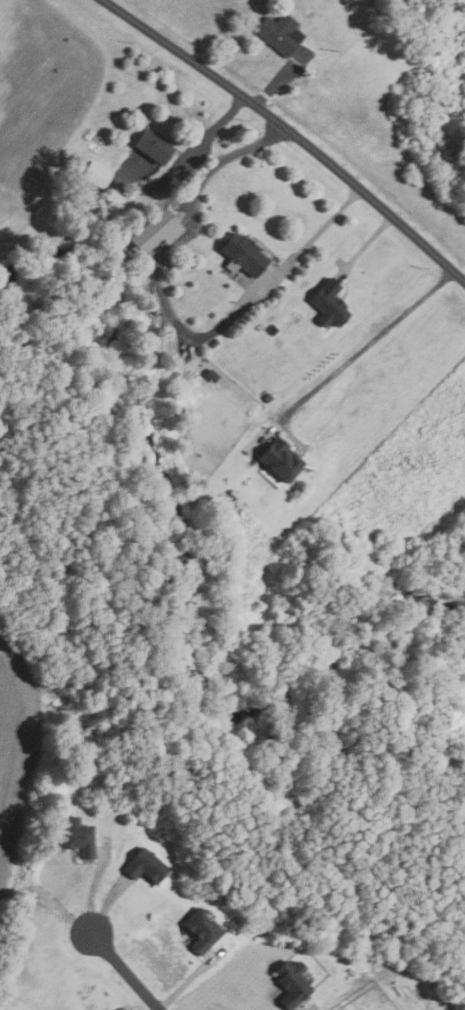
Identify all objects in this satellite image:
building: (277, 33)
road: (279, 79)
road: (289, 133)
road: (200, 141)
building: (151, 145)
road: (195, 167)
building: (93, 174)
building: (151, 231)
road: (365, 246)
building: (241, 253)
building: (326, 304)
road: (175, 318)
road: (366, 346)
building: (267, 398)
building: (277, 460)
building: (232, 494)
building: (114, 770)
building: (76, 837)
building: (143, 866)
road: (95, 885)
road: (106, 903)
building: (198, 929)
building: (283, 944)
road: (126, 971)
road: (188, 981)
building: (290, 982)
road: (306, 1009)

